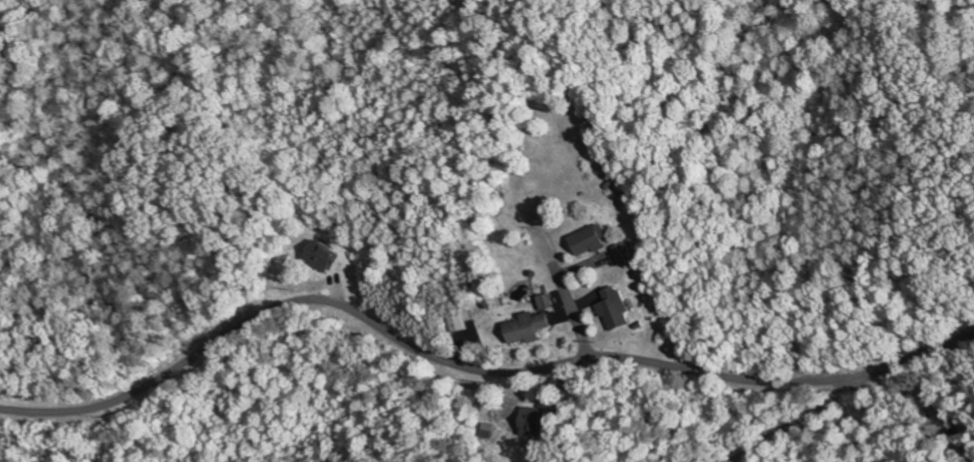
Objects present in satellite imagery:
building: (587, 241)
building: (622, 252)
building: (319, 256)
building: (544, 303)
building: (612, 310)
building: (524, 328)
road: (433, 357)
road: (847, 391)

